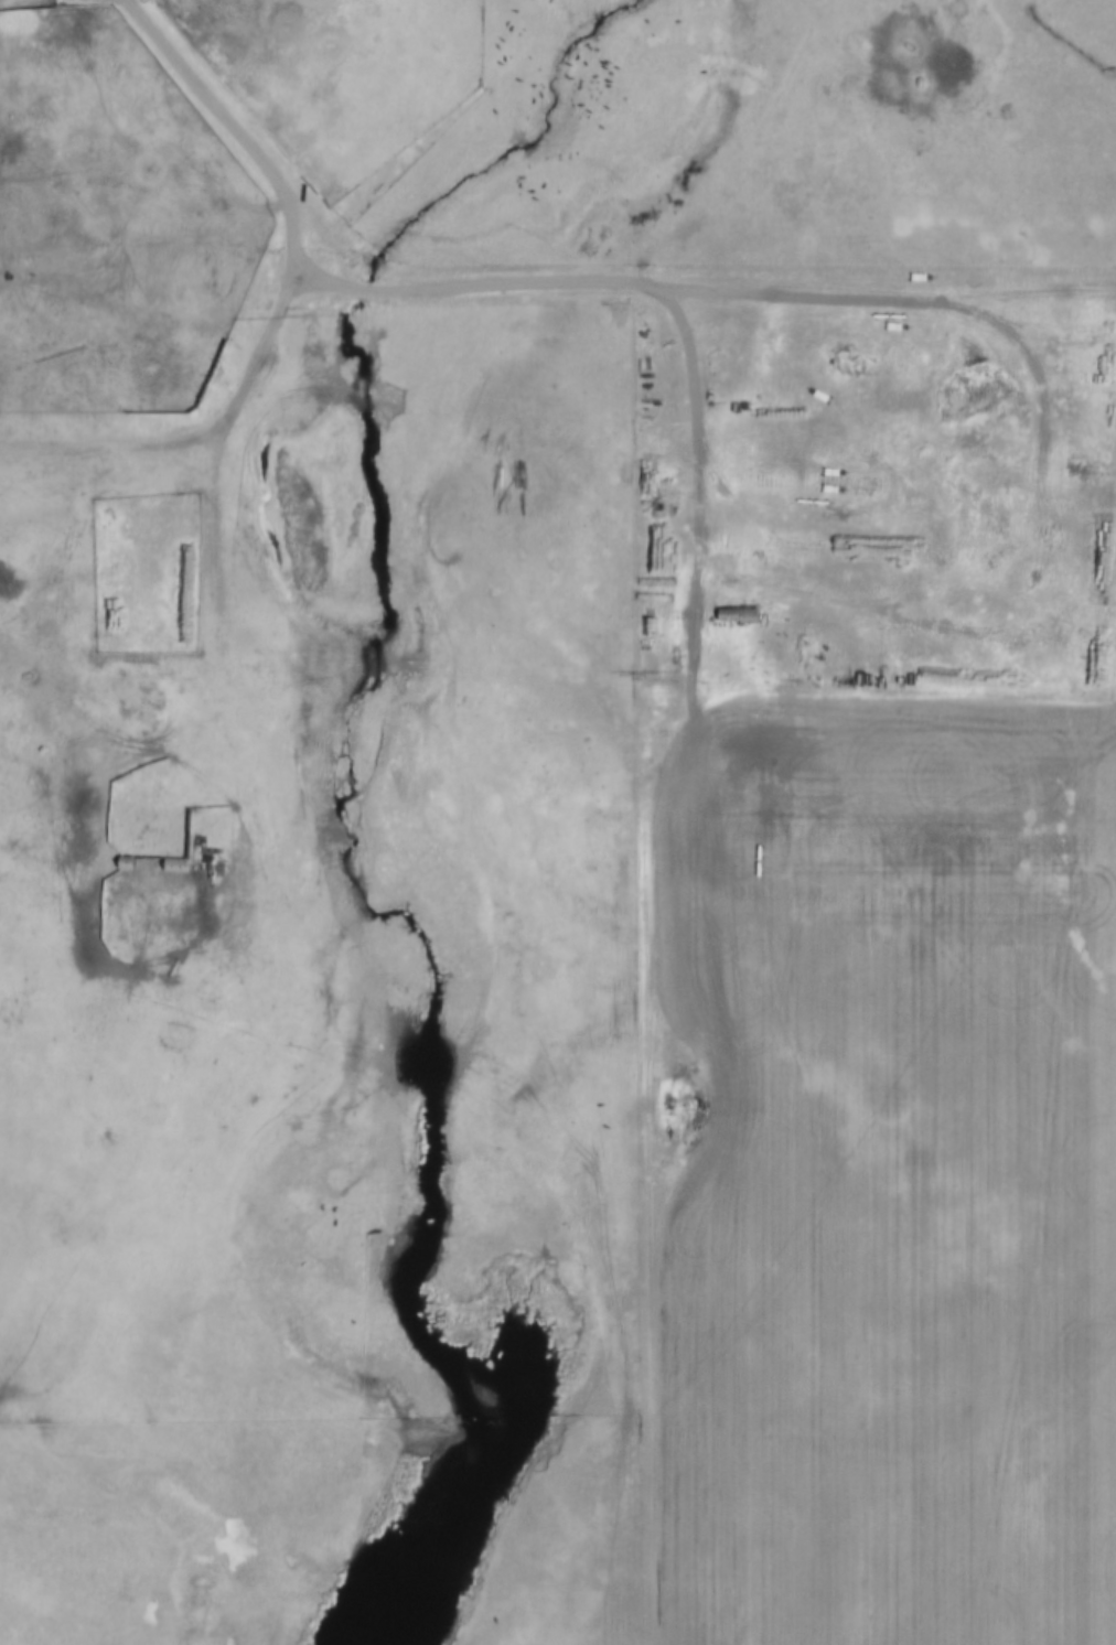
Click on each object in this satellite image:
road: (203, 100)
road: (701, 282)
road: (700, 358)
road: (221, 443)
road: (117, 449)
building: (750, 614)
building: (732, 620)
building: (155, 863)
building: (119, 867)
building: (169, 871)
road: (622, 964)

